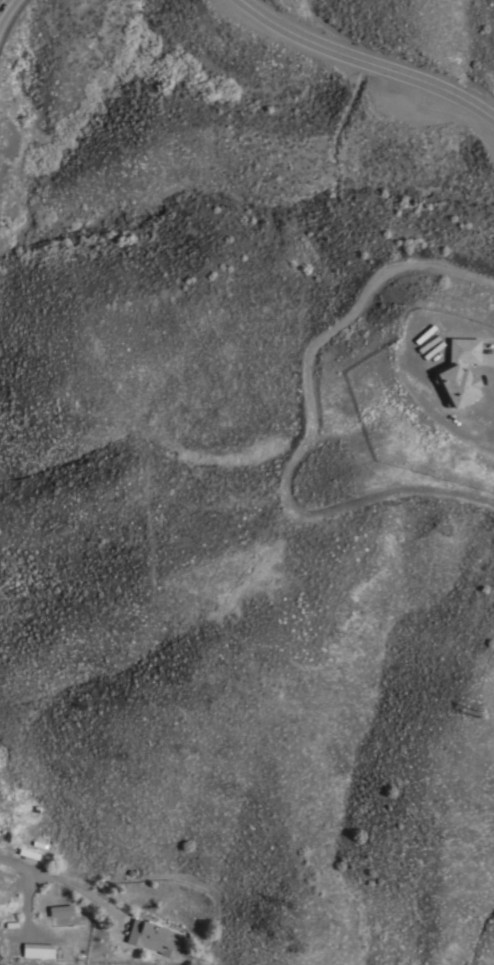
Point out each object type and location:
road: (6, 9)
road: (366, 62)
building: (457, 371)
road: (25, 867)
building: (60, 910)
building: (153, 936)
building: (37, 949)

